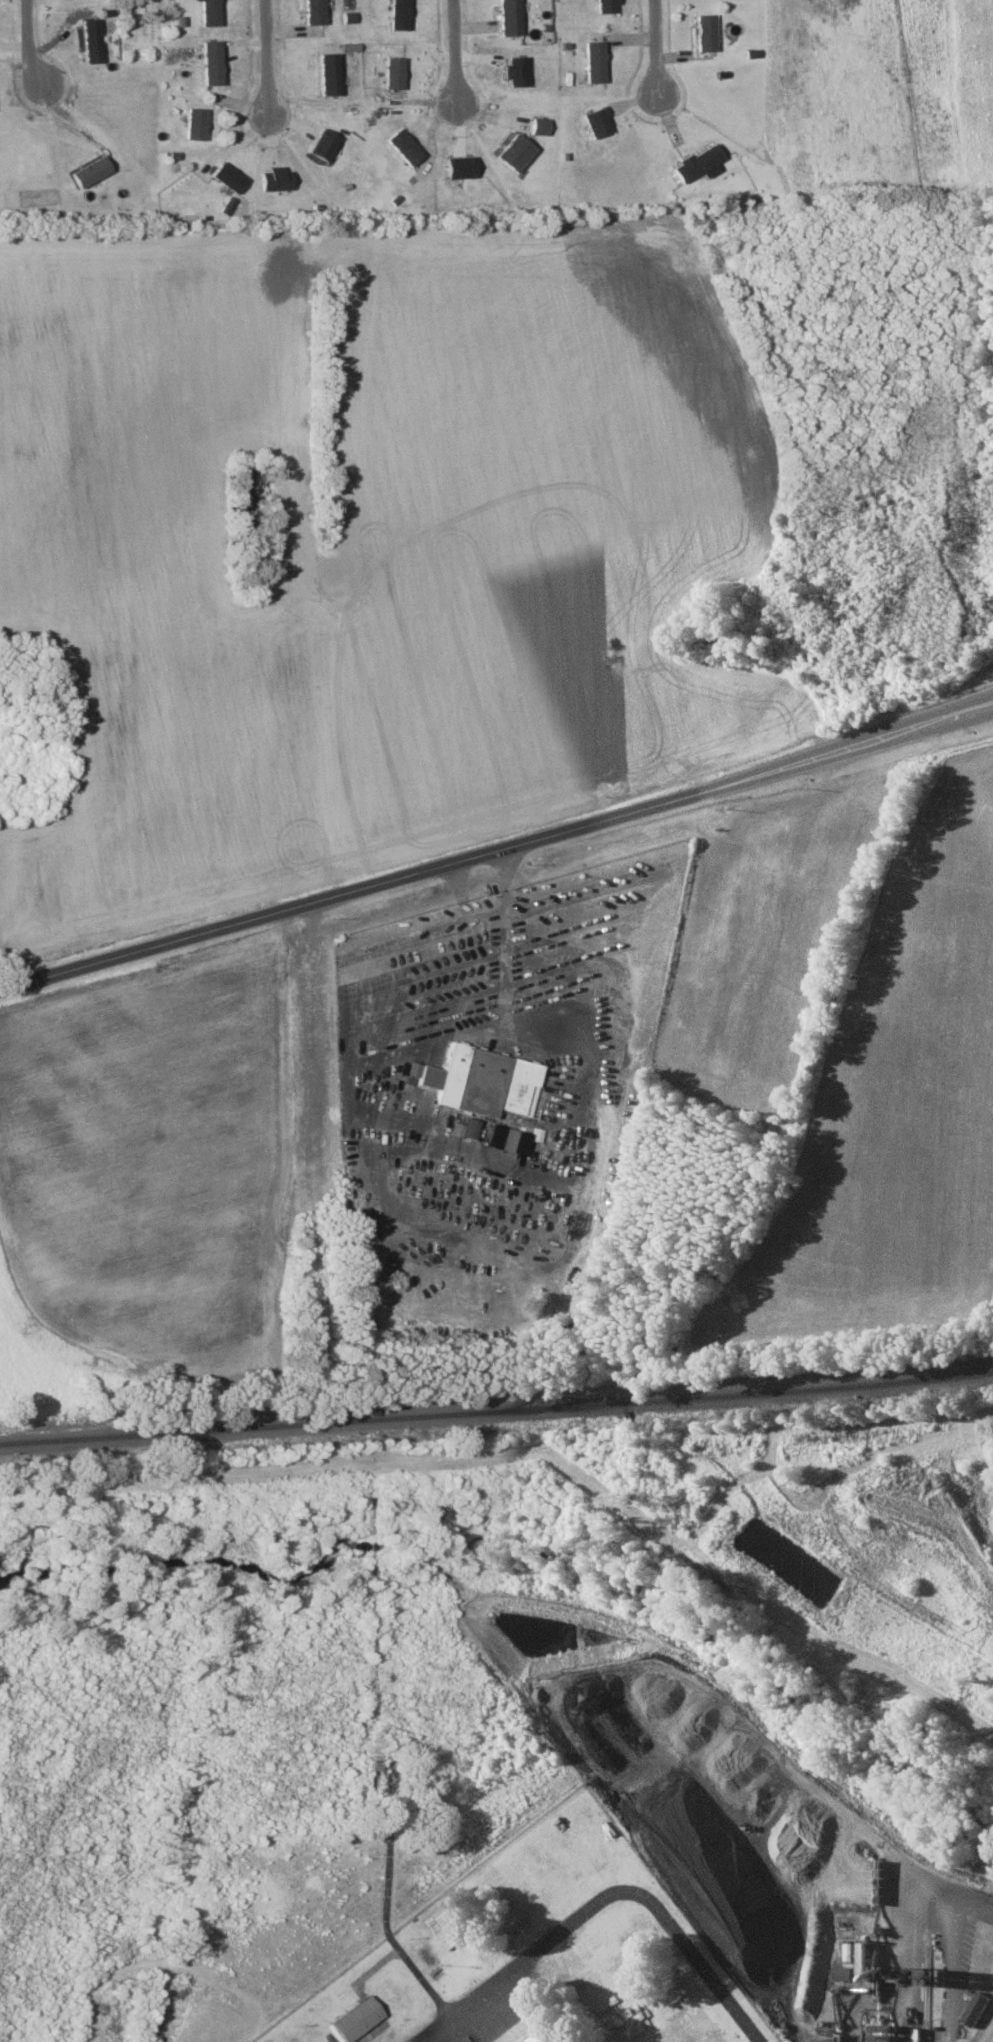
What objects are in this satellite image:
building: (607, 5)
building: (209, 12)
building: (314, 12)
building: (399, 14)
building: (510, 17)
building: (705, 33)
building: (89, 38)
road: (28, 42)
road: (656, 47)
road: (455, 54)
road: (267, 56)
building: (211, 61)
building: (595, 62)
building: (517, 69)
building: (393, 72)
building: (328, 73)
building: (598, 121)
building: (195, 124)
building: (540, 126)
building: (323, 144)
building: (403, 147)
building: (516, 153)
building: (698, 163)
building: (459, 166)
building: (90, 170)
building: (227, 175)
building: (275, 178)
road: (496, 845)
building: (482, 1082)
building: (463, 1129)
railway: (496, 1411)
building: (842, 1972)
building: (976, 2008)
building: (355, 2018)
building: (544, 2037)

